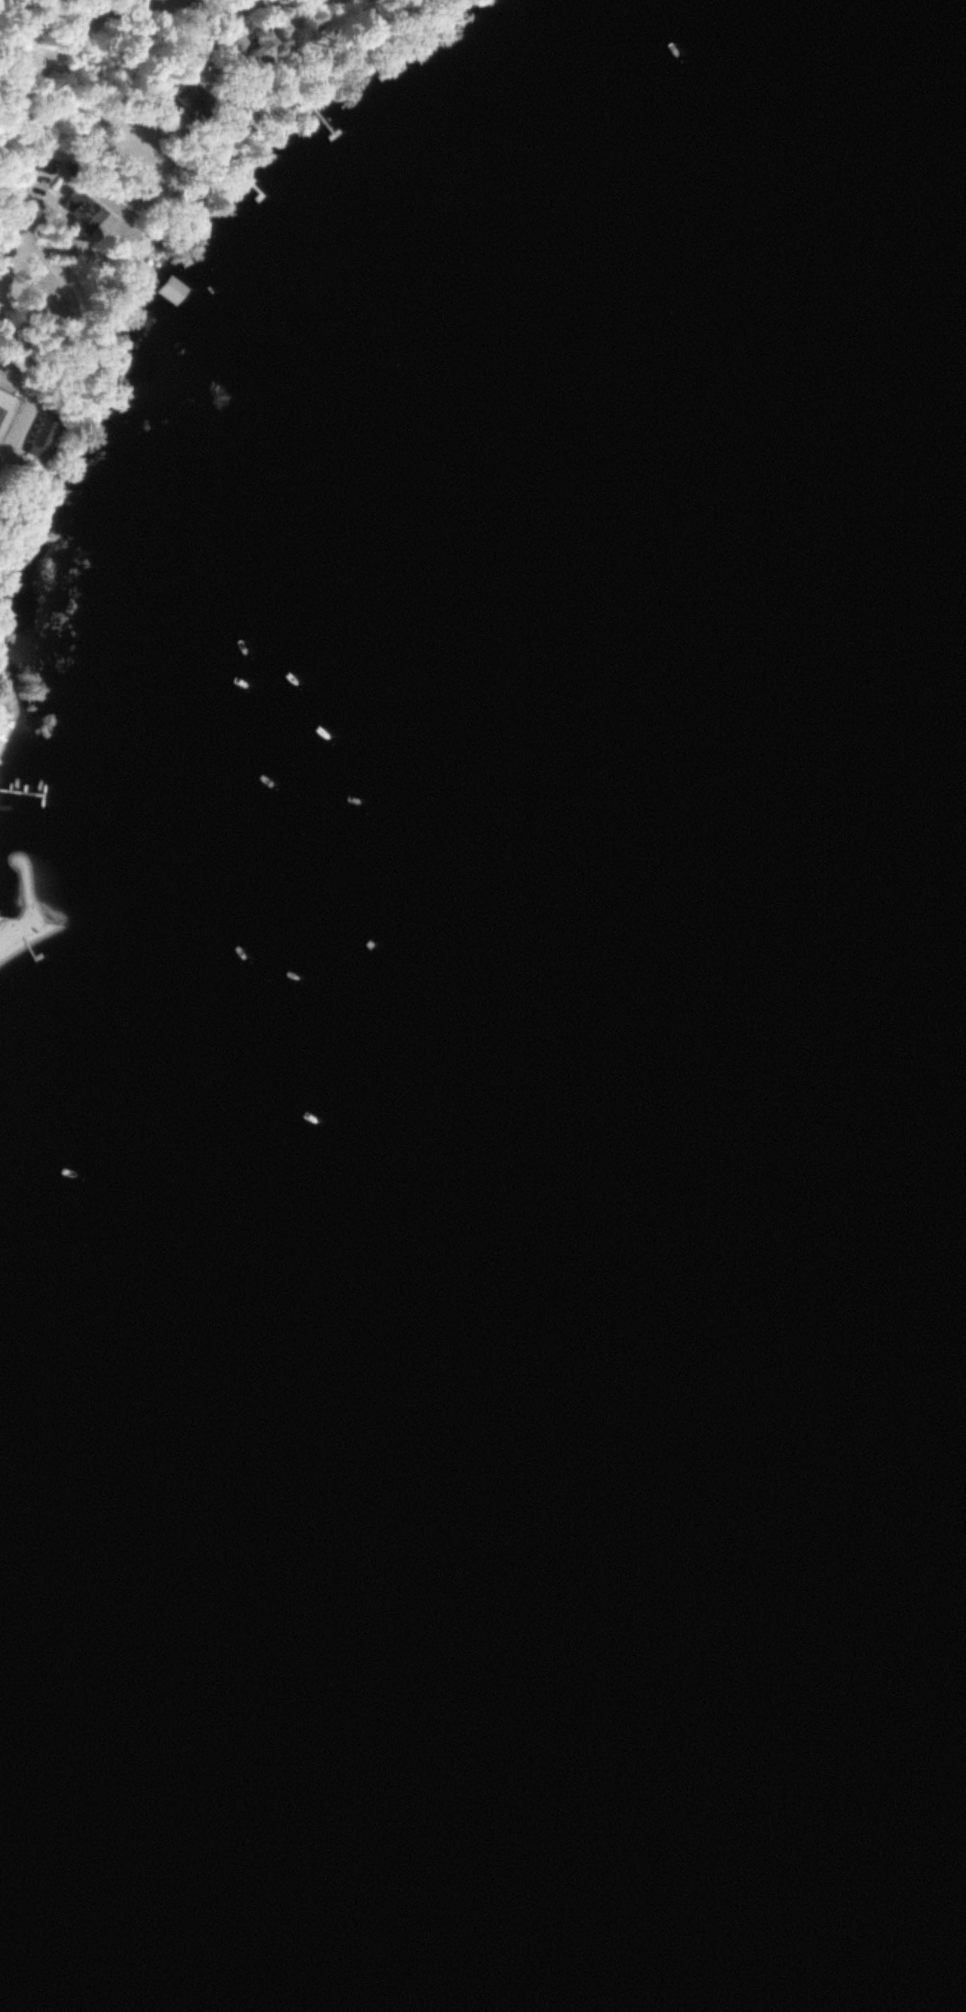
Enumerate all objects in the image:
road: (61, 48)
building: (255, 51)
building: (191, 98)
building: (141, 151)
building: (86, 209)
road: (10, 246)
building: (176, 289)
road: (59, 352)
park: (8, 409)
building: (49, 434)

